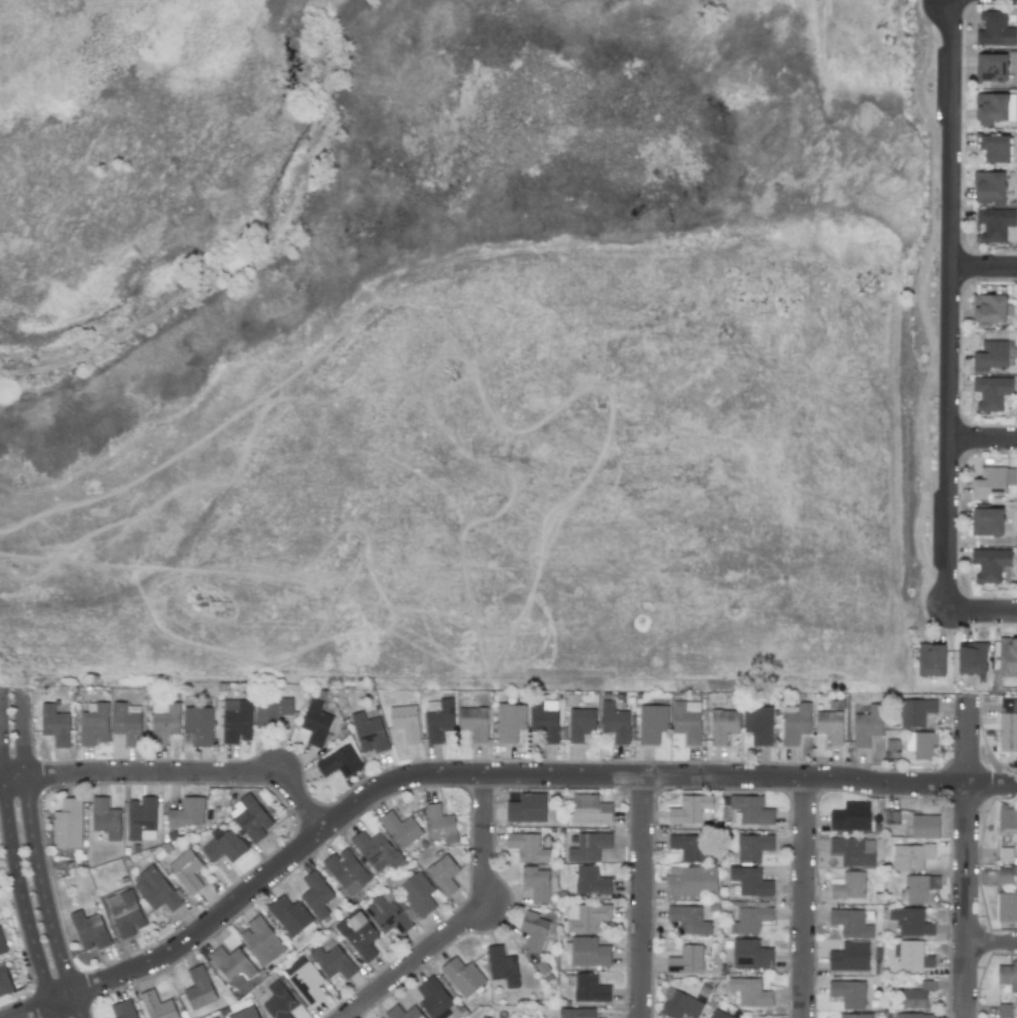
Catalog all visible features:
building: (994, 30)
building: (991, 67)
building: (994, 107)
building: (994, 148)
building: (989, 188)
building: (994, 224)
road: (982, 269)
road: (919, 305)
road: (948, 305)
building: (989, 308)
building: (990, 356)
building: (991, 392)
road: (982, 444)
building: (993, 481)
building: (986, 521)
building: (990, 564)
road: (981, 612)
building: (1007, 654)
building: (971, 658)
building: (931, 659)
building: (271, 711)
building: (915, 711)
building: (544, 718)
building: (235, 719)
building: (438, 719)
building: (687, 720)
building: (127, 722)
building: (164, 722)
building: (315, 722)
building: (405, 722)
building: (509, 722)
building: (614, 722)
building: (473, 723)
building: (580, 723)
building: (652, 723)
building: (758, 724)
building: (796, 724)
building: (55, 725)
building: (94, 725)
building: (199, 725)
building: (722, 725)
building: (867, 725)
building: (1008, 725)
building: (829, 726)
building: (369, 733)
road: (22, 736)
building: (921, 744)
road: (2, 755)
building: (340, 762)
road: (188, 773)
road: (509, 774)
road: (2, 777)
road: (15, 777)
building: (527, 808)
building: (590, 809)
building: (751, 809)
building: (692, 810)
building: (187, 813)
building: (851, 817)
building: (105, 818)
building: (141, 818)
building: (250, 818)
building: (1007, 818)
building: (67, 824)
building: (440, 824)
building: (924, 826)
building: (400, 829)
building: (589, 846)
building: (224, 847)
building: (527, 847)
building: (753, 847)
building: (692, 848)
building: (376, 851)
building: (853, 851)
building: (910, 856)
road: (966, 861)
building: (186, 870)
building: (346, 870)
building: (443, 875)
building: (591, 881)
building: (691, 881)
building: (748, 882)
building: (535, 883)
building: (849, 886)
road: (41, 887)
building: (919, 887)
building: (155, 889)
road: (20, 891)
building: (417, 893)
building: (316, 894)
road: (804, 897)
road: (644, 898)
building: (1007, 907)
building: (125, 913)
building: (386, 914)
building: (290, 916)
building: (586, 917)
building: (688, 919)
road: (468, 921)
building: (911, 922)
building: (850, 923)
building: (89, 930)
building: (533, 930)
building: (361, 936)
road: (992, 939)
building: (261, 940)
building: (2, 945)
building: (589, 952)
building: (751, 954)
building: (911, 955)
building: (849, 957)
building: (686, 960)
building: (332, 962)
building: (231, 965)
building: (502, 966)
building: (462, 976)
building: (1008, 976)
building: (4, 981)
building: (303, 981)
building: (590, 988)
building: (199, 989)
building: (750, 992)
building: (848, 993)
building: (916, 995)
building: (434, 998)
building: (279, 1001)
road: (41, 1006)
road: (76, 1006)
building: (157, 1006)
building: (681, 1006)
building: (123, 1009)
road: (54, 1010)
building: (1003, 1011)
building: (402, 1012)
building: (246, 1013)
building: (576, 1013)
building: (719, 1014)
building: (855, 1015)
building: (911, 1015)
building: (214, 1017)

